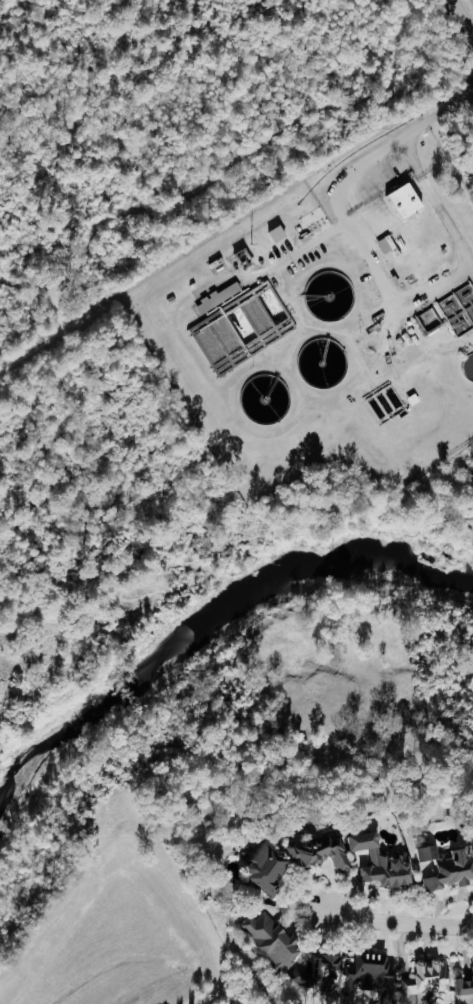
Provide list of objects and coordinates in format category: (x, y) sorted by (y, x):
road: (5, 3)
road: (463, 17)
road: (142, 100)
park: (193, 126)
road: (239, 159)
road: (438, 200)
building: (410, 201)
road: (341, 214)
building: (279, 235)
building: (389, 246)
road: (298, 253)
building: (220, 299)
wastewater plant: (332, 318)
building: (432, 319)
road: (50, 333)
road: (227, 553)
road: (11, 610)
river: (206, 614)
road: (1, 629)
building: (324, 854)
building: (386, 863)
building: (449, 869)
building: (271, 871)
road: (394, 923)
building: (276, 942)
building: (374, 973)
building: (323, 974)
building: (428, 977)
building: (462, 984)

